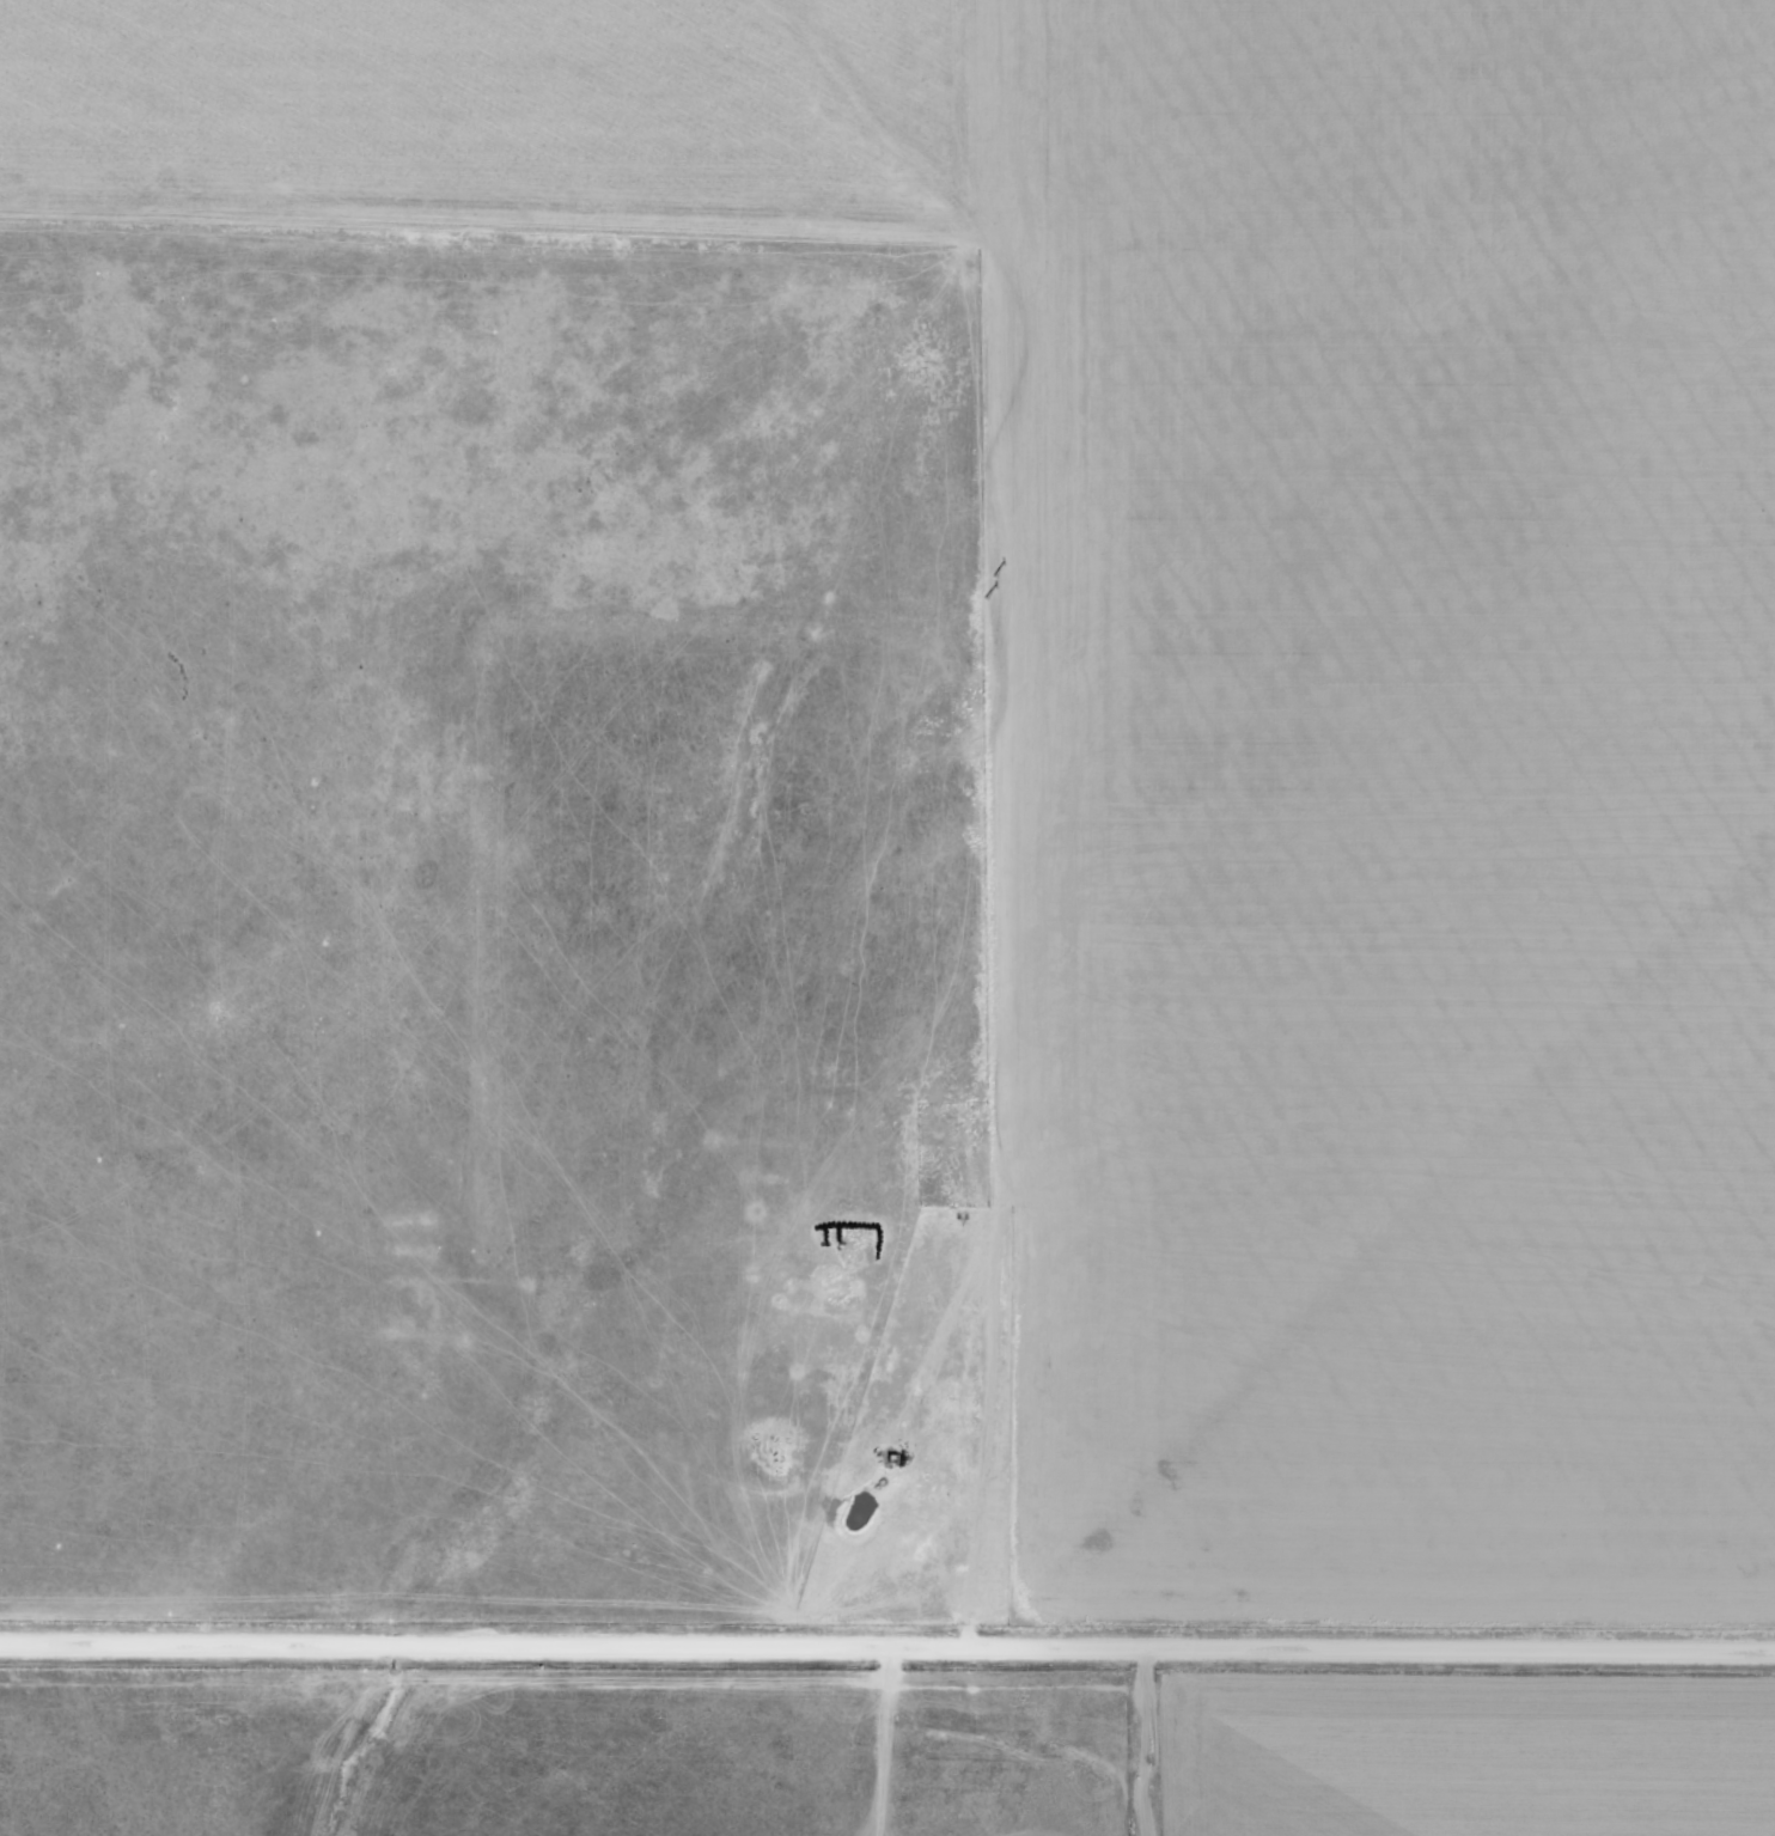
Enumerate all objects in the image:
road: (886, 1646)
road: (1145, 1742)

